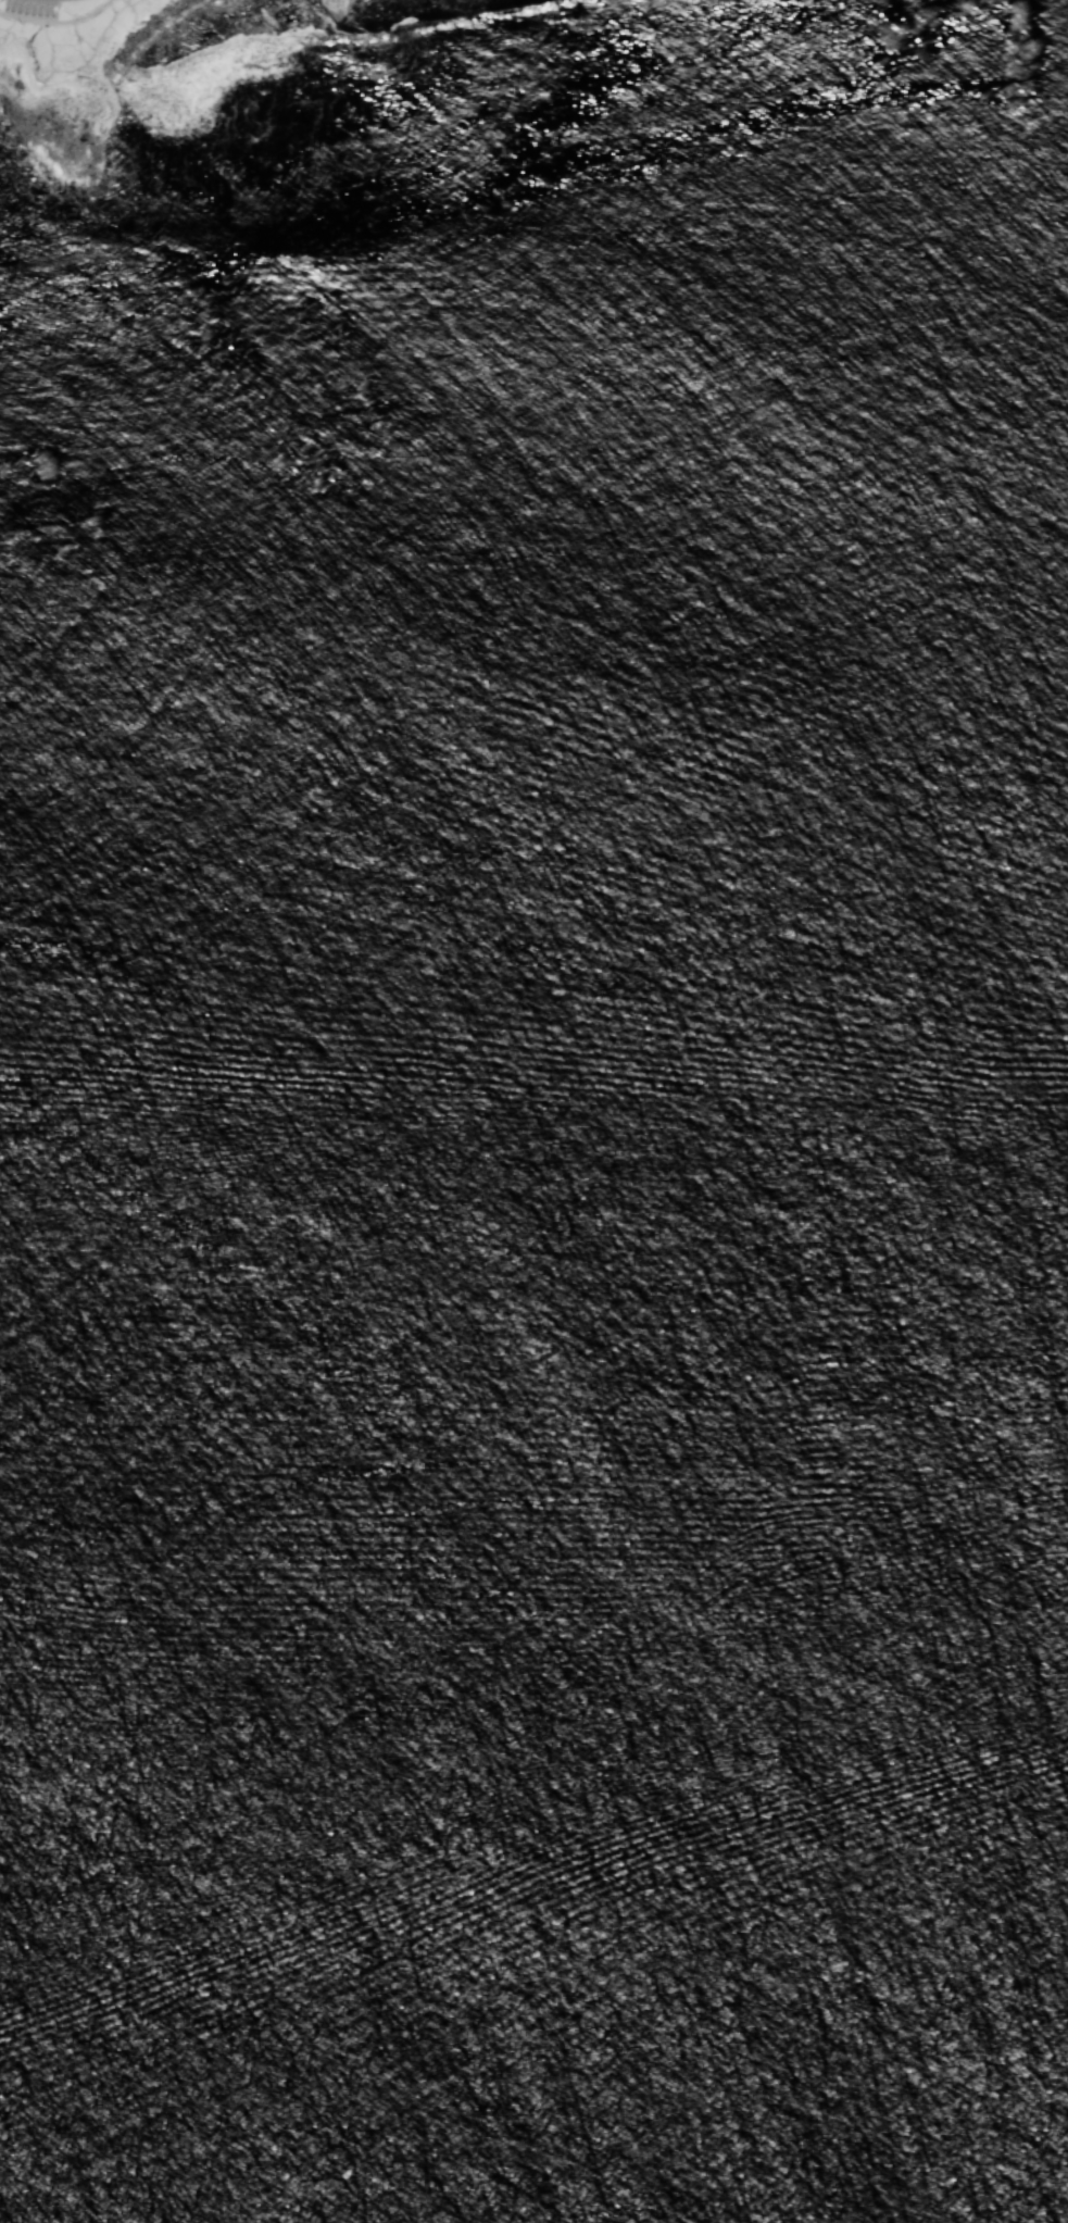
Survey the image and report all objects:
parking lot: (29, 7)
road: (67, 10)
road: (54, 18)
park: (134, 18)

